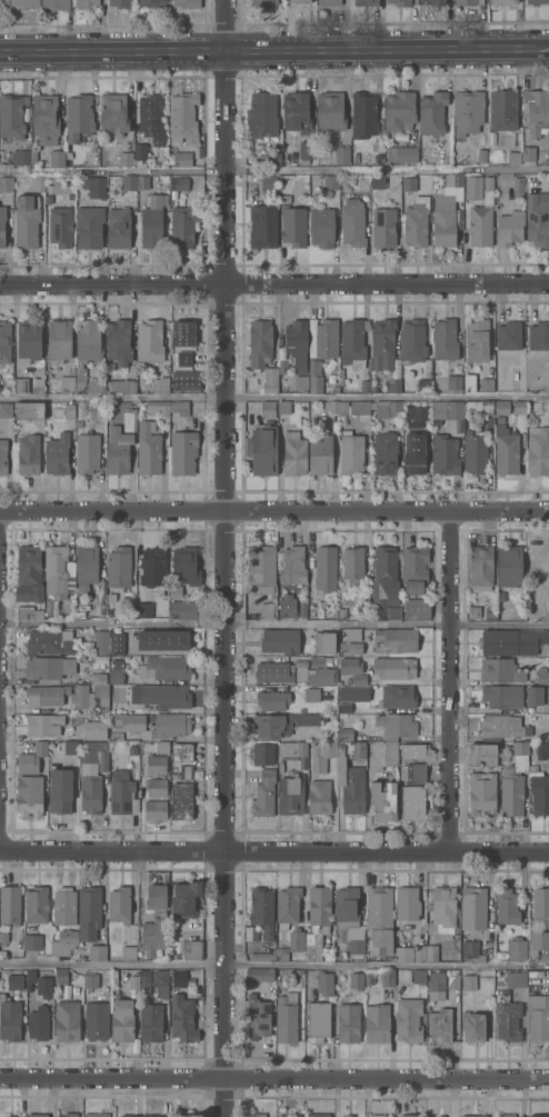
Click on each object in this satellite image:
building: (298, 1)
building: (536, 1)
building: (262, 2)
building: (329, 2)
building: (366, 2)
building: (399, 2)
building: (436, 2)
building: (467, 2)
building: (502, 2)
building: (22, 3)
building: (56, 3)
building: (87, 3)
building: (121, 3)
building: (152, 3)
building: (187, 3)
road: (428, 48)
road: (70, 49)
road: (182, 50)
road: (264, 50)
building: (400, 110)
building: (502, 110)
building: (330, 111)
building: (468, 111)
building: (536, 111)
building: (297, 112)
building: (432, 112)
building: (113, 113)
building: (365, 113)
building: (262, 114)
building: (12, 116)
building: (79, 116)
building: (44, 118)
building: (151, 118)
building: (183, 118)
building: (306, 149)
building: (140, 151)
building: (528, 153)
building: (69, 154)
building: (341, 154)
building: (401, 154)
building: (481, 156)
building: (21, 157)
building: (34, 157)
building: (272, 157)
building: (57, 158)
building: (182, 158)
building: (513, 158)
building: (126, 159)
building: (380, 159)
road: (273, 170)
building: (111, 178)
building: (458, 179)
building: (377, 180)
building: (129, 181)
building: (142, 181)
building: (330, 181)
building: (268, 182)
building: (6, 183)
building: (37, 183)
building: (363, 183)
building: (408, 183)
building: (519, 183)
building: (178, 184)
building: (97, 187)
building: (473, 188)
building: (488, 190)
building: (58, 197)
building: (27, 220)
building: (443, 220)
building: (537, 220)
building: (416, 221)
building: (152, 222)
building: (352, 222)
building: (183, 225)
building: (480, 225)
building: (89, 226)
building: (262, 226)
building: (292, 226)
building: (2, 227)
building: (60, 227)
building: (321, 227)
building: (383, 227)
building: (118, 228)
building: (508, 229)
road: (274, 281)
road: (222, 312)
building: (509, 336)
building: (538, 336)
building: (477, 337)
building: (327, 338)
building: (59, 339)
building: (151, 339)
building: (445, 339)
building: (412, 340)
building: (4, 341)
building: (28, 341)
building: (88, 341)
building: (119, 341)
building: (353, 342)
building: (259, 343)
building: (297, 343)
building: (382, 345)
building: (183, 352)
building: (37, 362)
building: (282, 367)
building: (315, 376)
building: (341, 376)
building: (184, 380)
building: (270, 380)
building: (301, 381)
building: (453, 382)
building: (469, 382)
building: (67, 383)
building: (100, 383)
building: (21, 385)
building: (37, 385)
building: (163, 385)
building: (423, 385)
building: (487, 385)
building: (123, 386)
building: (366, 386)
building: (393, 386)
building: (93, 387)
building: (373, 389)
road: (274, 398)
building: (110, 405)
building: (127, 405)
building: (158, 407)
building: (283, 407)
building: (330, 407)
building: (478, 407)
building: (519, 407)
building: (179, 408)
building: (355, 408)
building: (501, 408)
building: (6, 409)
building: (268, 409)
building: (386, 409)
building: (29, 410)
building: (69, 410)
building: (447, 410)
building: (415, 412)
building: (320, 418)
building: (117, 447)
building: (148, 448)
building: (262, 449)
building: (506, 450)
building: (538, 450)
building: (183, 451)
building: (87, 452)
building: (475, 452)
building: (28, 453)
building: (295, 453)
building: (351, 453)
building: (385, 453)
building: (57, 455)
building: (320, 455)
building: (446, 455)
building: (3, 457)
building: (415, 458)
road: (274, 510)
building: (352, 564)
building: (292, 565)
building: (186, 566)
building: (509, 566)
building: (87, 567)
building: (119, 567)
building: (153, 567)
building: (326, 567)
building: (480, 567)
building: (415, 568)
road: (451, 569)
building: (29, 574)
building: (58, 576)
building: (261, 577)
building: (385, 577)
building: (177, 591)
building: (84, 607)
building: (287, 607)
building: (417, 608)
building: (144, 609)
building: (184, 609)
building: (303, 609)
building: (475, 611)
building: (27, 612)
building: (342, 612)
building: (393, 612)
building: (80, 614)
building: (489, 615)
road: (109, 625)
road: (335, 626)
road: (500, 627)
building: (162, 639)
building: (395, 639)
building: (280, 640)
building: (102, 641)
building: (325, 641)
building: (512, 641)
building: (47, 642)
building: (117, 642)
building: (351, 642)
building: (84, 651)
building: (137, 657)
building: (322, 660)
building: (350, 666)
building: (49, 667)
building: (167, 667)
building: (393, 667)
building: (500, 669)
building: (117, 671)
building: (272, 671)
building: (321, 675)
building: (542, 676)
building: (99, 678)
building: (359, 679)
building: (353, 692)
building: (101, 694)
building: (311, 694)
building: (46, 695)
building: (536, 695)
building: (166, 696)
building: (397, 696)
building: (502, 696)
building: (82, 697)
building: (272, 699)
building: (343, 707)
building: (300, 717)
building: (129, 722)
building: (43, 725)
building: (169, 725)
building: (397, 725)
building: (269, 726)
building: (502, 726)
building: (346, 734)
building: (69, 735)
building: (112, 736)
road: (449, 738)
building: (40, 747)
building: (162, 747)
building: (134, 748)
building: (291, 749)
building: (320, 749)
building: (542, 749)
building: (413, 750)
building: (181, 752)
building: (263, 754)
building: (390, 754)
building: (482, 754)
building: (520, 755)
building: (72, 761)
building: (27, 764)
building: (156, 765)
building: (186, 772)
building: (91, 774)
building: (415, 774)
building: (351, 776)
building: (157, 787)
building: (481, 791)
building: (511, 791)
building: (539, 791)
building: (263, 794)
building: (29, 795)
building: (291, 795)
building: (321, 795)
building: (122, 797)
building: (61, 799)
building: (181, 800)
building: (382, 800)
building: (412, 802)
building: (154, 810)
road: (274, 849)
road: (218, 871)
building: (184, 899)
building: (407, 901)
building: (540, 901)
building: (37, 904)
building: (287, 904)
building: (10, 905)
building: (119, 905)
building: (507, 905)
building: (64, 906)
building: (472, 906)
building: (262, 909)
building: (89, 911)
building: (317, 914)
building: (443, 914)
building: (380, 916)
building: (349, 918)
building: (154, 919)
building: (3, 937)
building: (296, 938)
building: (32, 941)
building: (538, 941)
building: (64, 943)
building: (517, 946)
building: (470, 948)
building: (431, 949)
building: (193, 950)
building: (410, 950)
building: (97, 953)
building: (128, 953)
building: (271, 955)
road: (273, 965)
building: (299, 970)
building: (259, 971)
building: (61, 975)
building: (387, 975)
building: (418, 975)
building: (31, 976)
building: (369, 976)
building: (516, 977)
building: (178, 978)
building: (356, 978)
building: (90, 980)
building: (325, 980)
building: (468, 980)
building: (14, 981)
building: (144, 981)
building: (160, 981)
building: (452, 981)
building: (436, 983)
building: (134, 985)
building: (44, 986)
building: (258, 1014)
building: (286, 1016)
building: (539, 1016)
building: (507, 1017)
building: (9, 1018)
building: (182, 1018)
building: (408, 1018)
building: (318, 1019)
building: (67, 1020)
building: (97, 1020)
building: (122, 1020)
building: (377, 1020)
building: (348, 1021)
building: (38, 1023)
building: (151, 1023)
building: (440, 1023)
building: (472, 1025)
road: (274, 1083)
building: (37, 1114)
building: (67, 1114)
building: (96, 1114)
building: (254, 1114)
building: (317, 1114)
building: (506, 1114)
building: (538, 1114)
building: (10, 1115)
building: (164, 1115)
building: (289, 1115)
building: (348, 1115)
building: (377, 1115)
building: (409, 1115)
building: (439, 1115)
building: (472, 1115)

